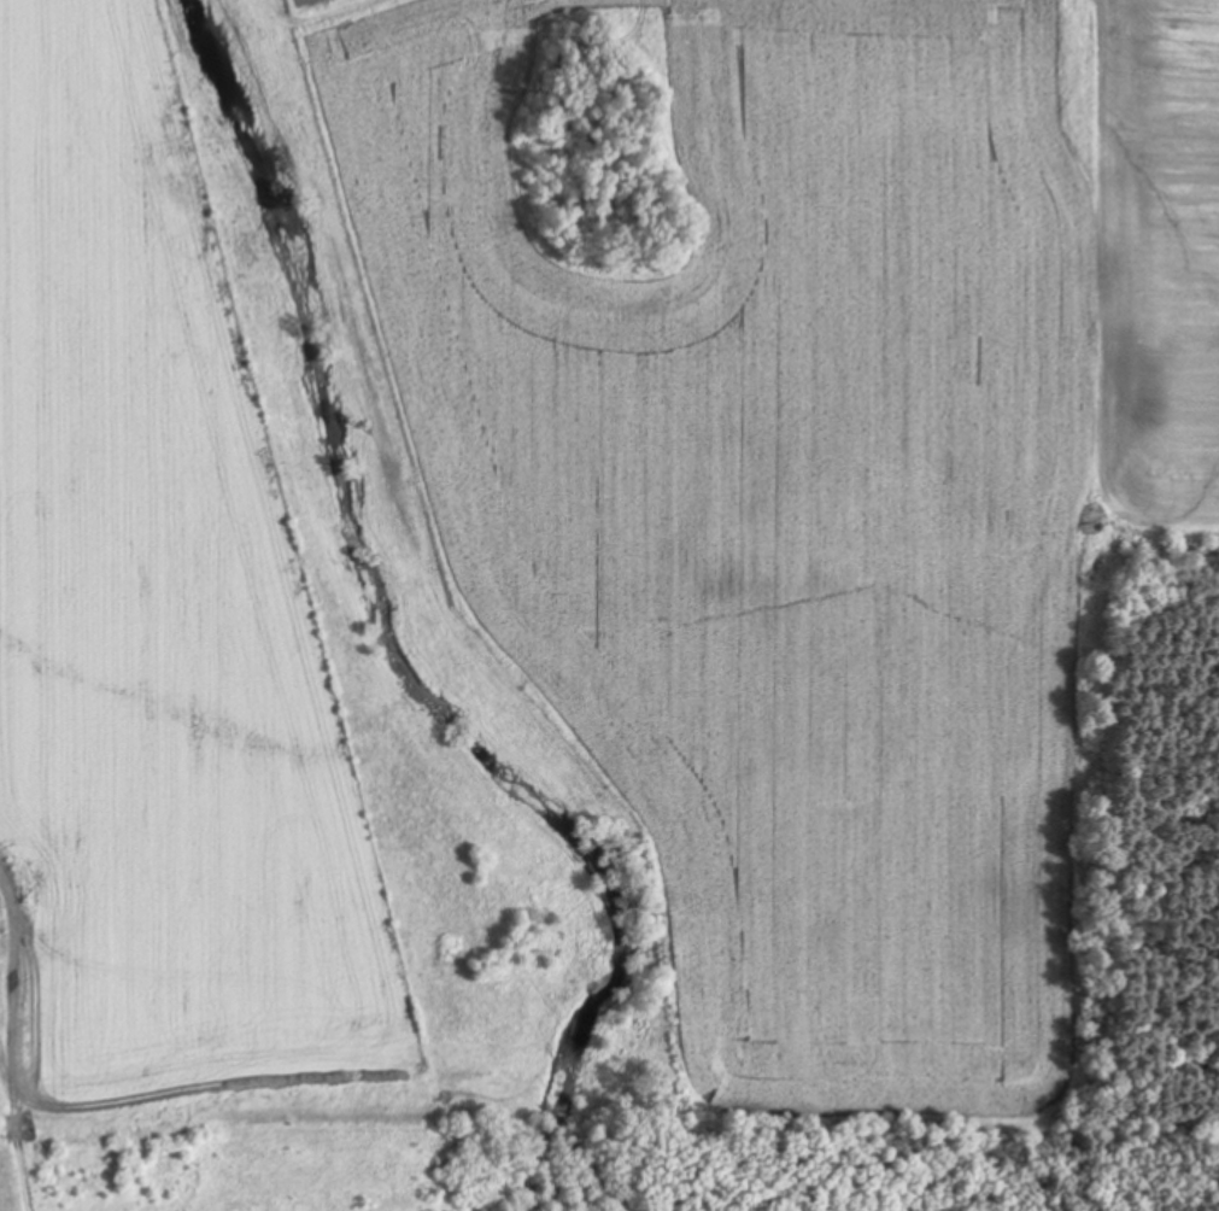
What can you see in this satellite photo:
crop: (811, 469)
river: (376, 551)
crop: (172, 709)
building: (581, 710)
river: (600, 1118)

